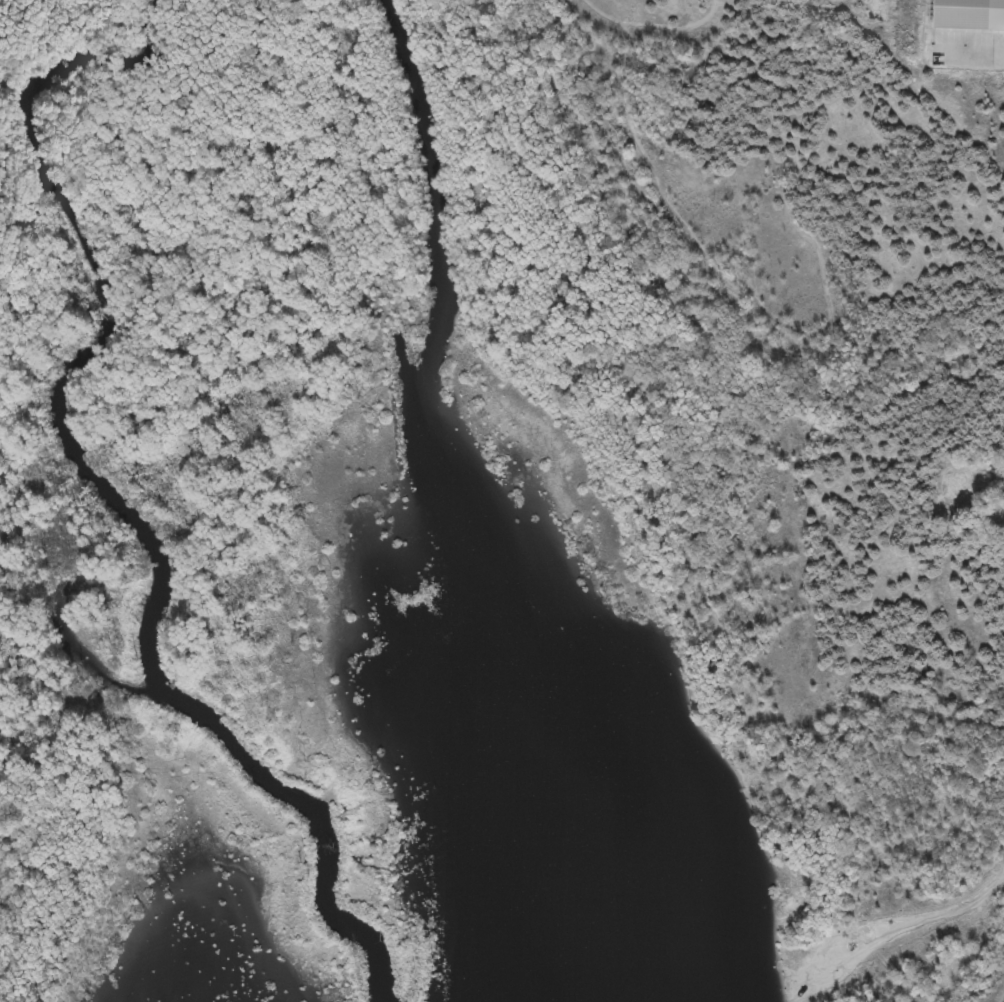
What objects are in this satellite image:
road: (976, 54)

